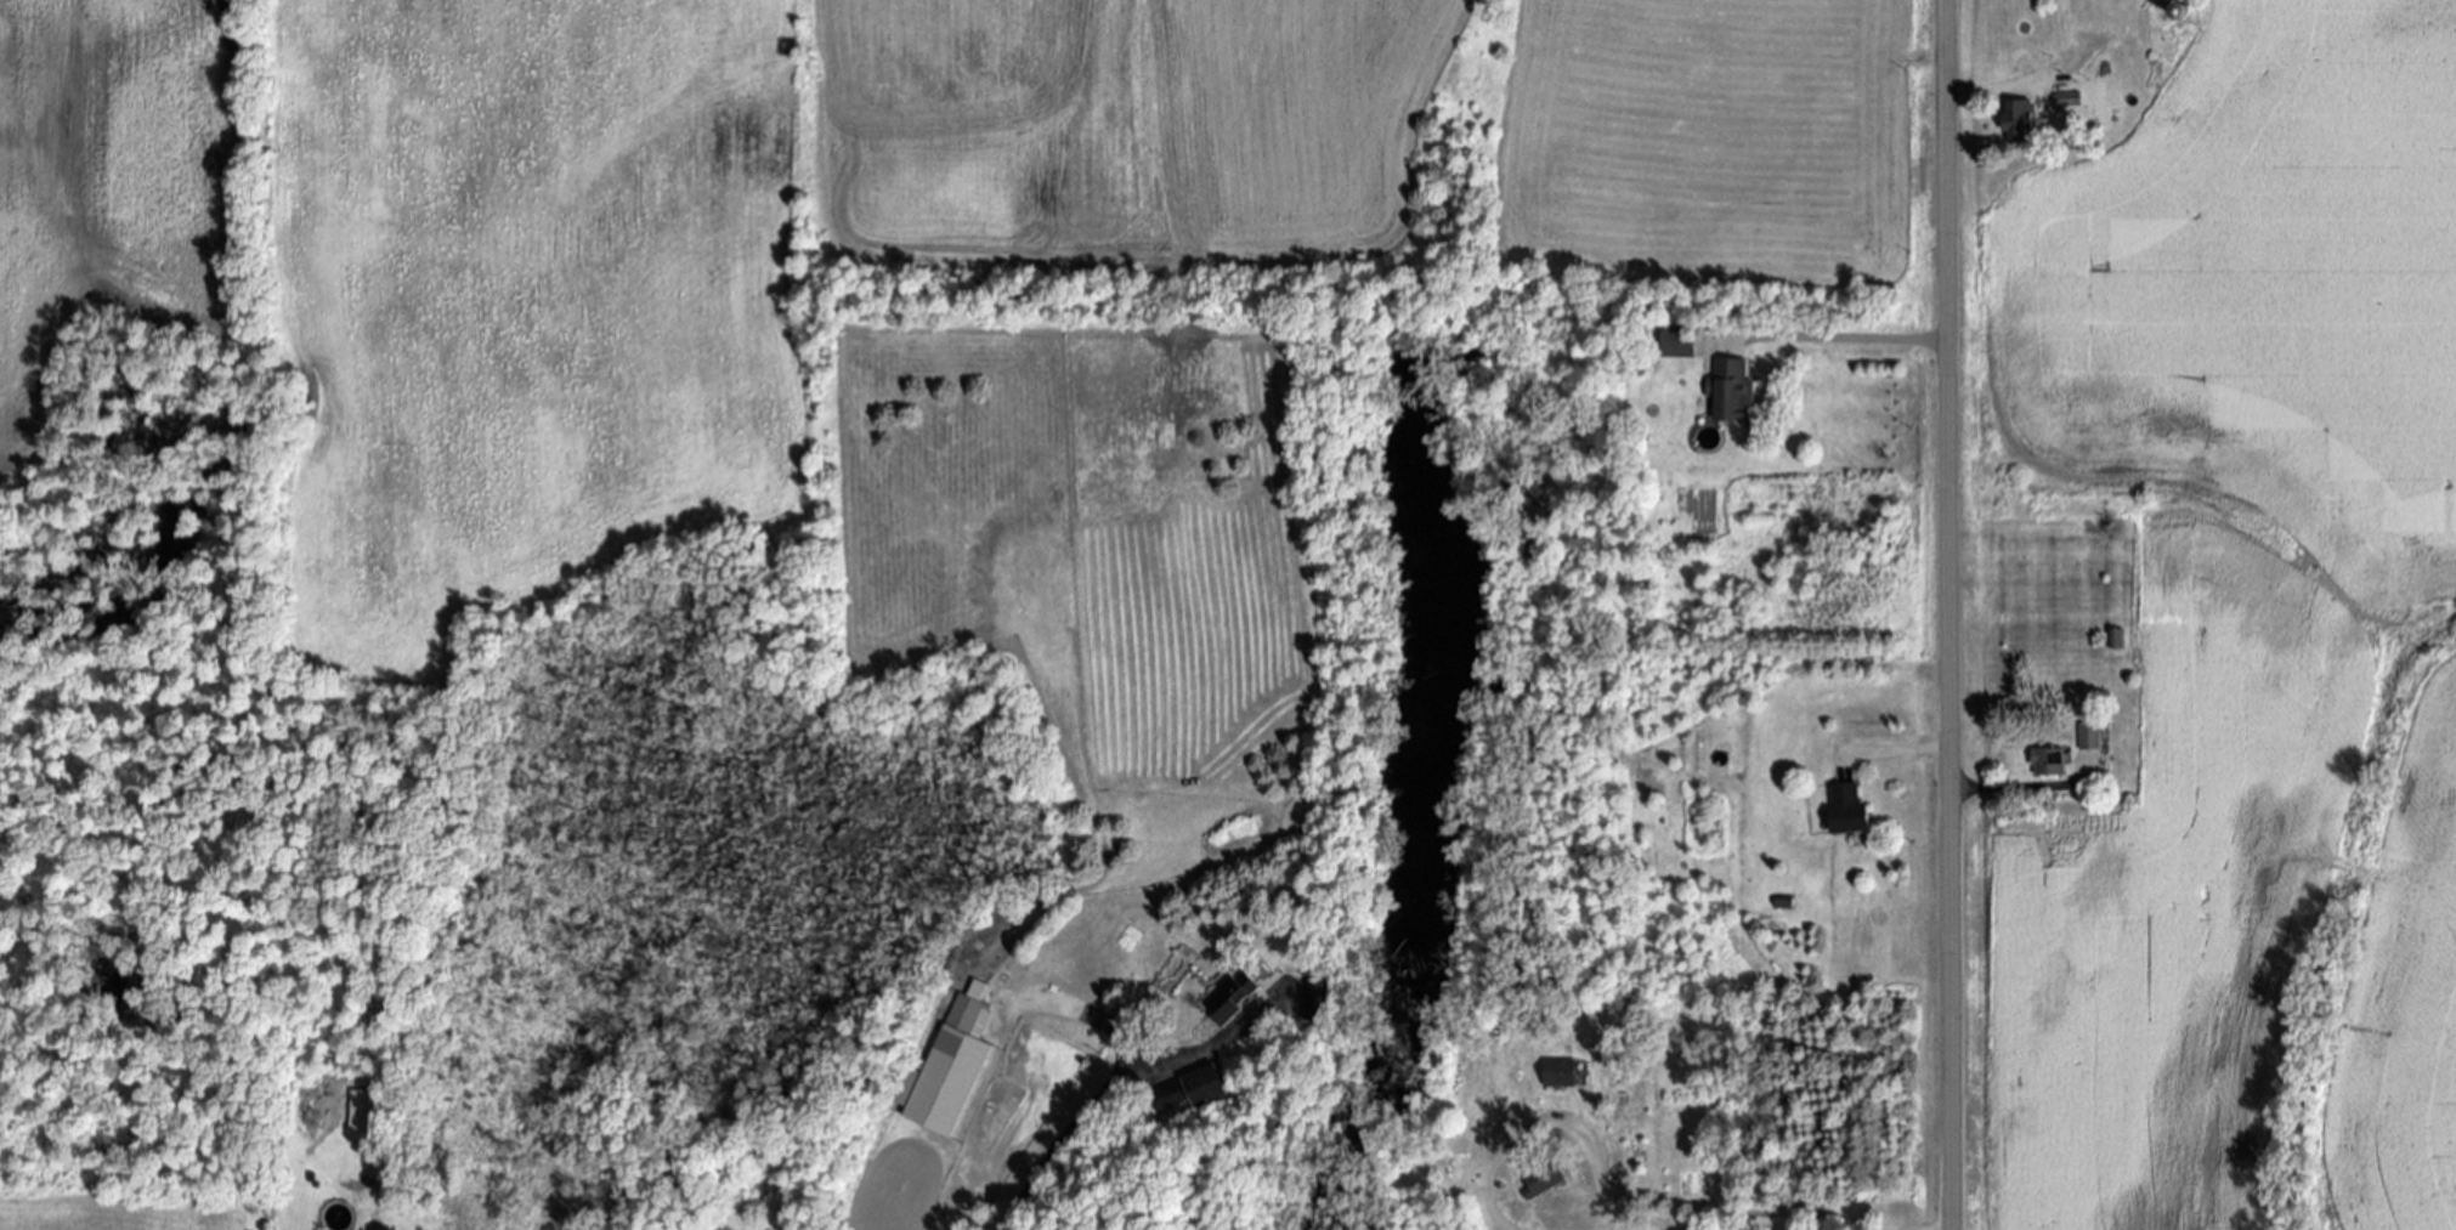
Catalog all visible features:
road: (2003, 89)
building: (2070, 98)
building: (2022, 119)
building: (1682, 340)
road: (1856, 341)
road: (1947, 614)
building: (2117, 637)
building: (2092, 736)
road: (1900, 752)
building: (2052, 760)
road: (2015, 787)
building: (1852, 807)
building: (1234, 999)
building: (1320, 999)
road: (1077, 1018)
building: (955, 1064)
building: (1562, 1072)
building: (1211, 1084)
road: (1090, 1100)
building: (364, 1109)
road: (1543, 1128)
building: (1543, 1179)

